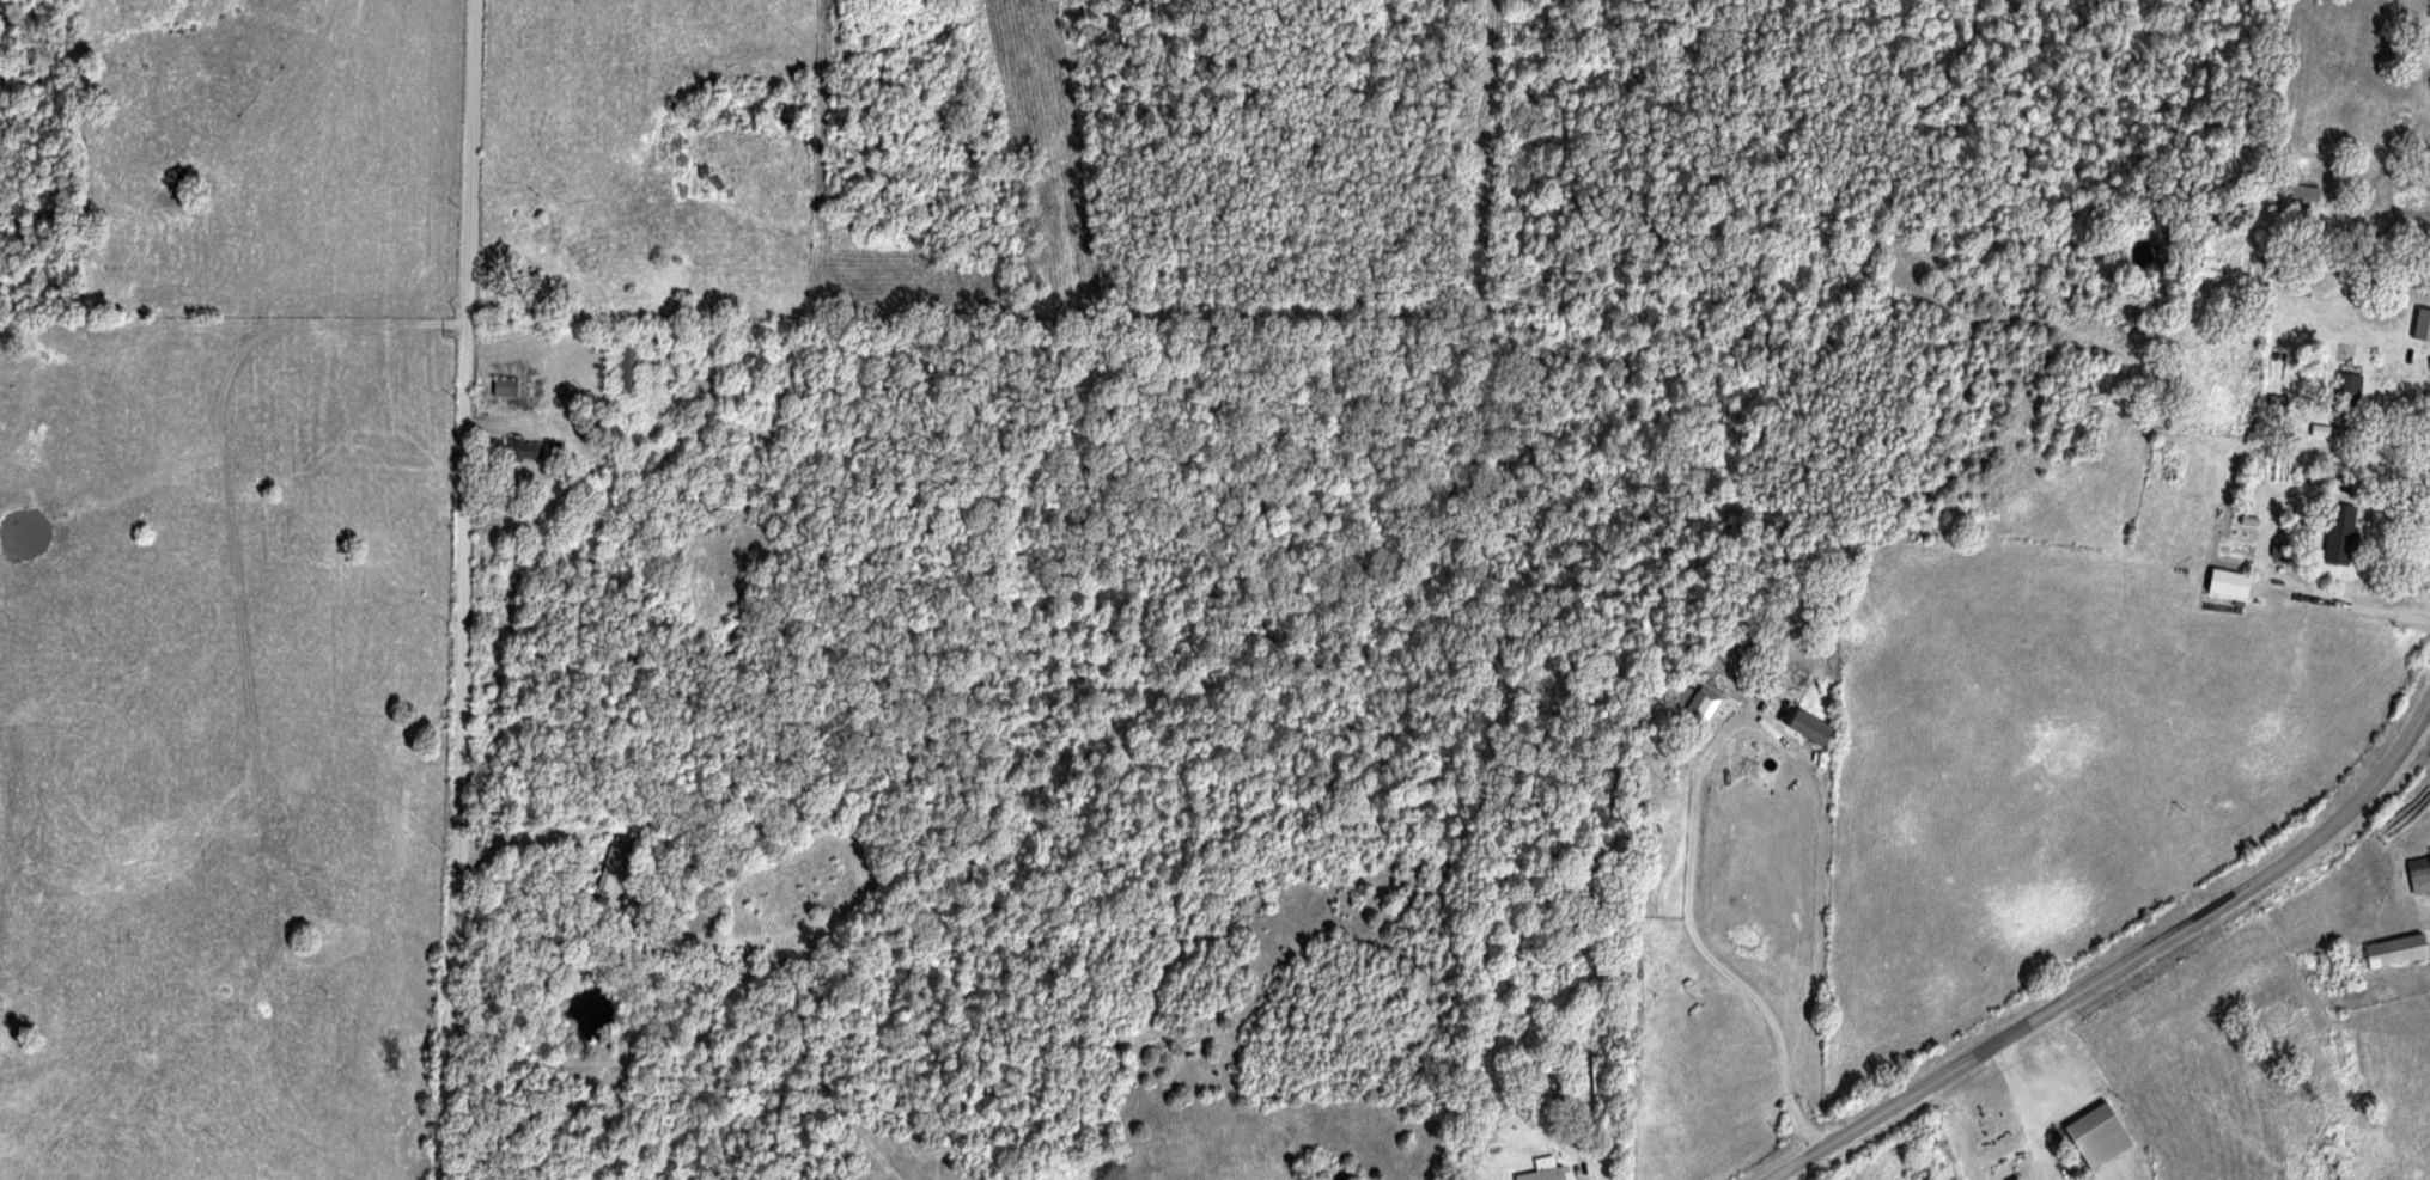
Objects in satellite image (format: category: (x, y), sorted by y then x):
building: (2303, 194)
building: (2422, 326)
building: (2347, 387)
building: (519, 451)
road: (542, 451)
building: (2338, 536)
building: (2227, 585)
road: (453, 589)
road: (2345, 606)
building: (1699, 708)
building: (1807, 729)
building: (1657, 766)
building: (613, 867)
building: (2419, 876)
building: (2394, 950)
road: (2120, 965)
road: (2023, 1111)
building: (2096, 1135)
building: (1542, 1170)

